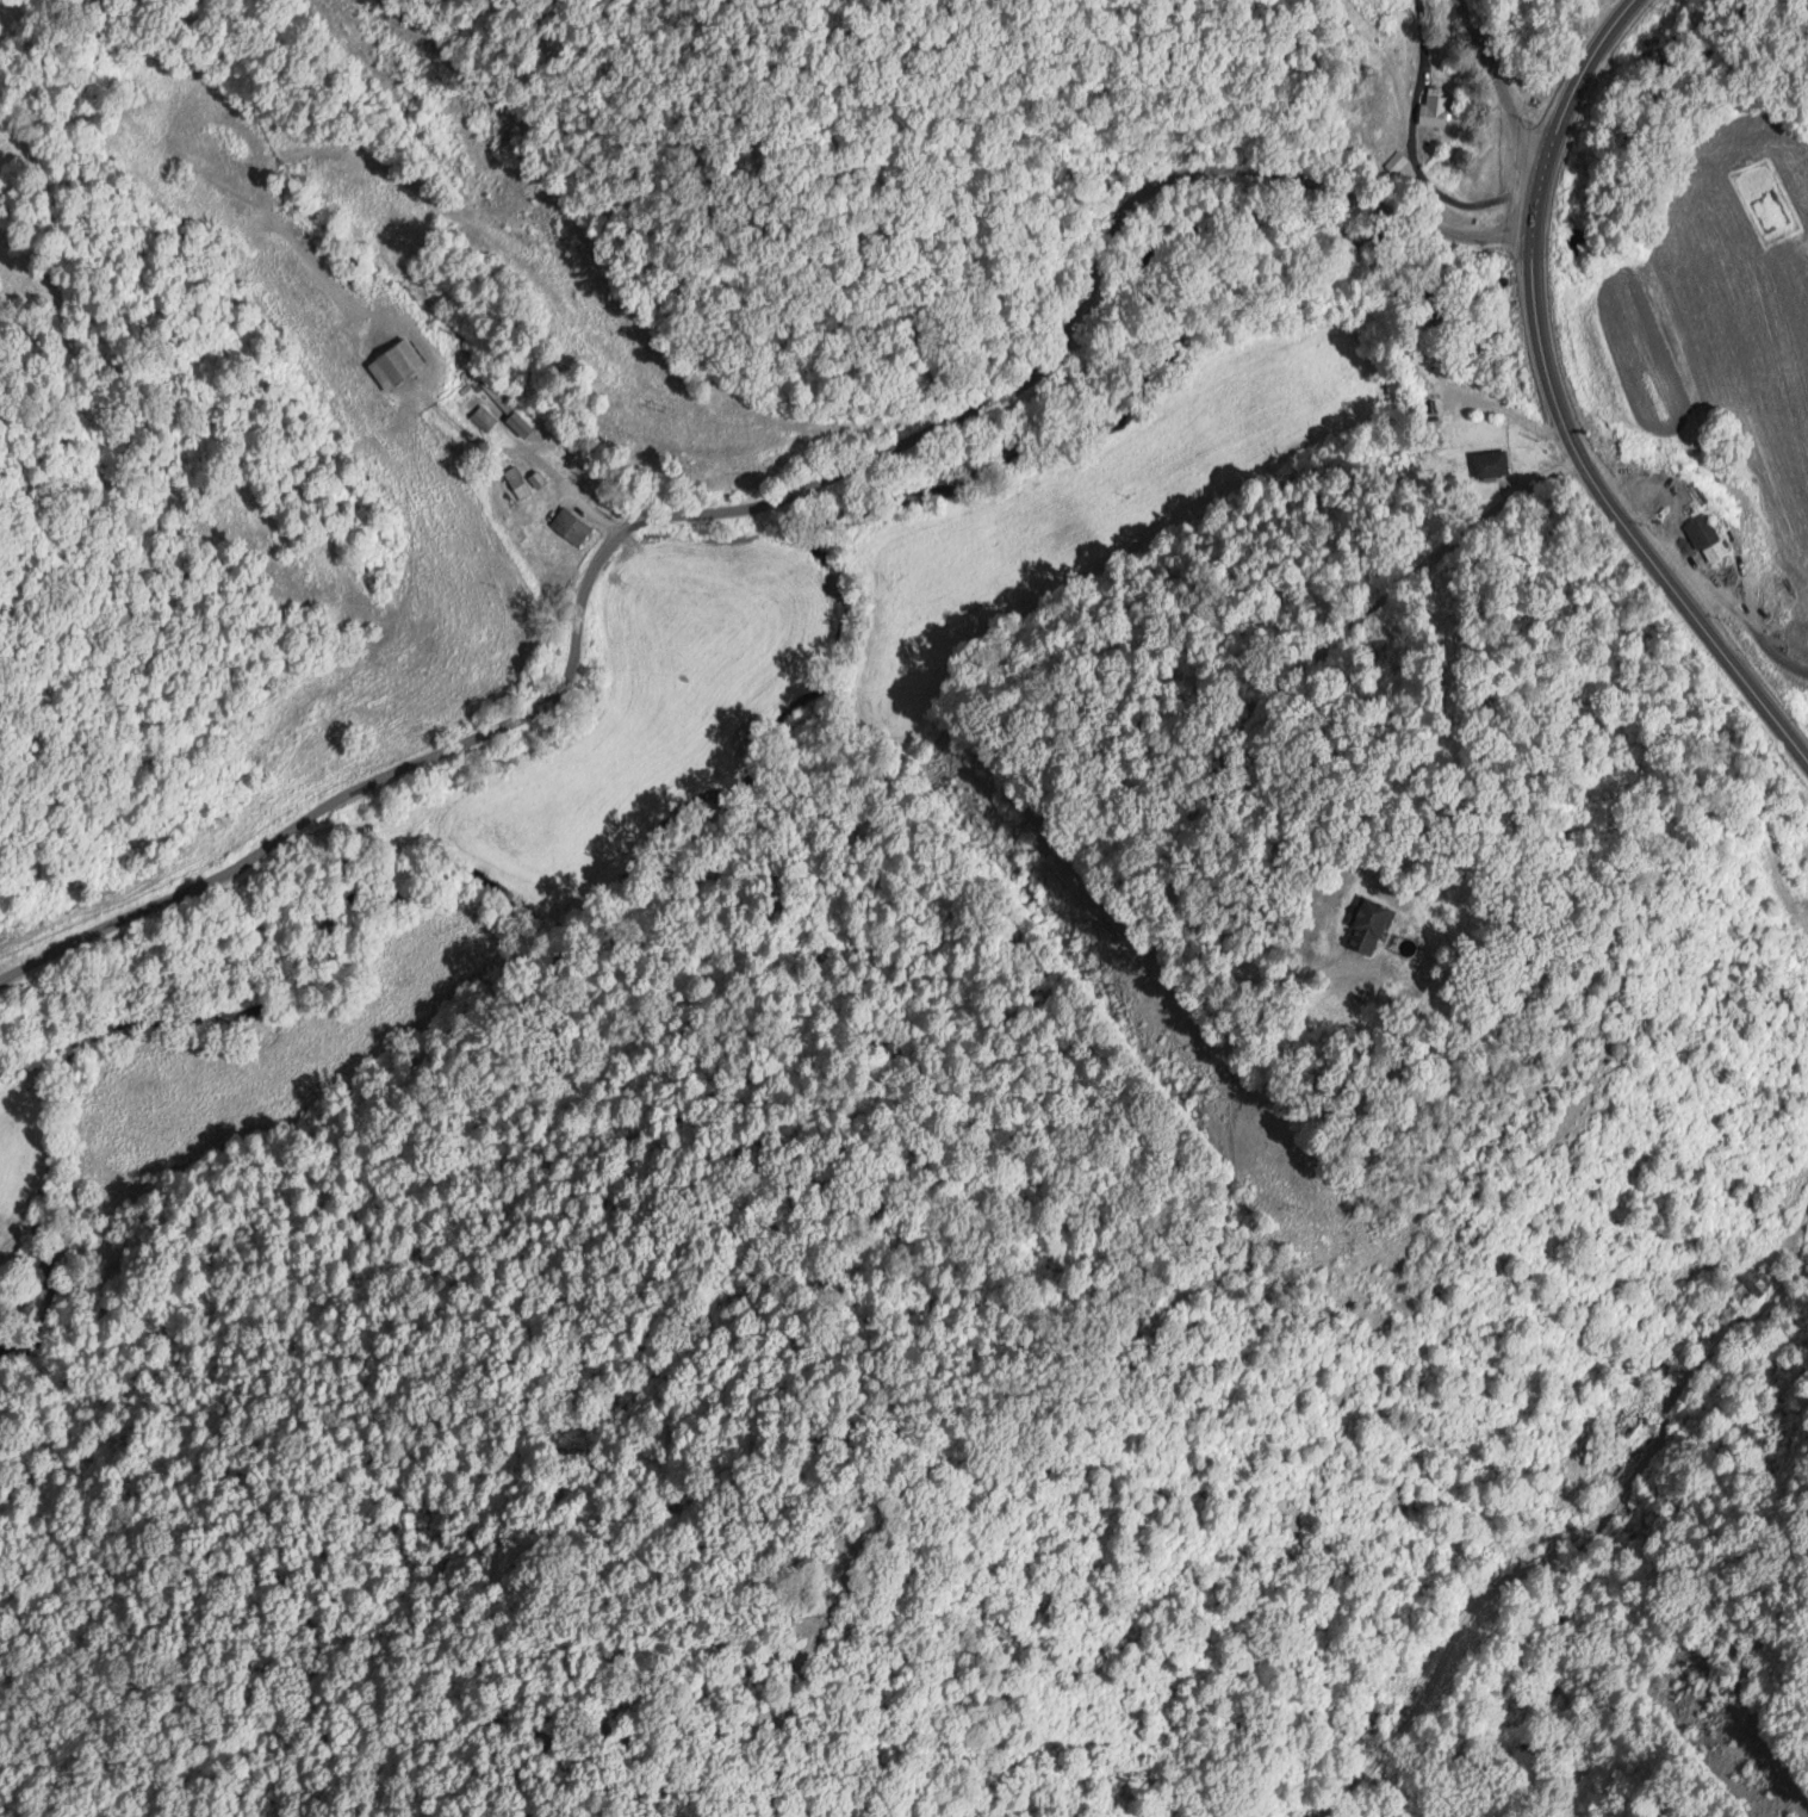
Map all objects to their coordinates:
road: (1503, 85)
building: (1430, 108)
road: (1410, 151)
building: (1394, 166)
road: (1104, 235)
building: (391, 364)
road: (1555, 407)
building: (481, 418)
building: (516, 424)
building: (1487, 464)
building: (514, 483)
building: (567, 527)
building: (1698, 532)
road: (1746, 622)
road: (1272, 723)
road: (424, 761)
building: (1366, 924)
building: (1746, 1289)
building: (1636, 1434)
road: (1654, 1447)

